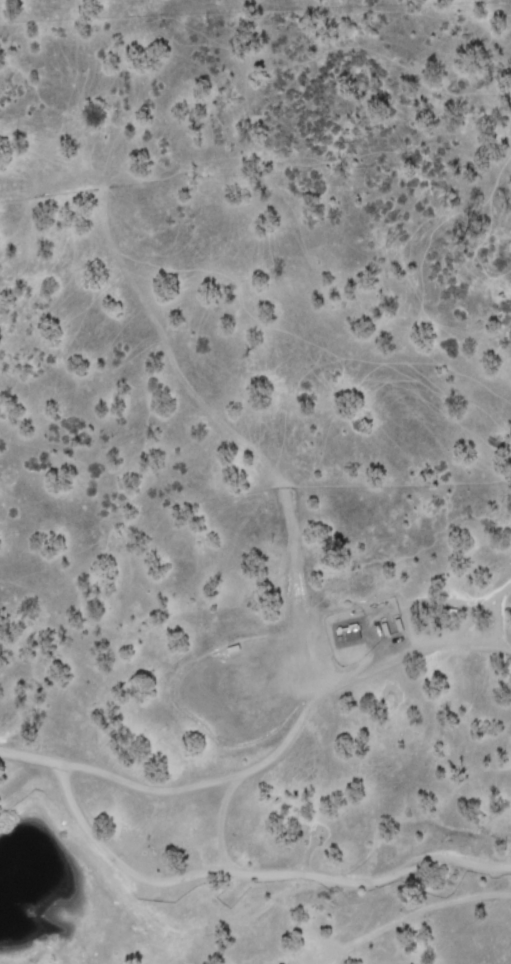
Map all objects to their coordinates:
building: (354, 633)
road: (266, 749)

